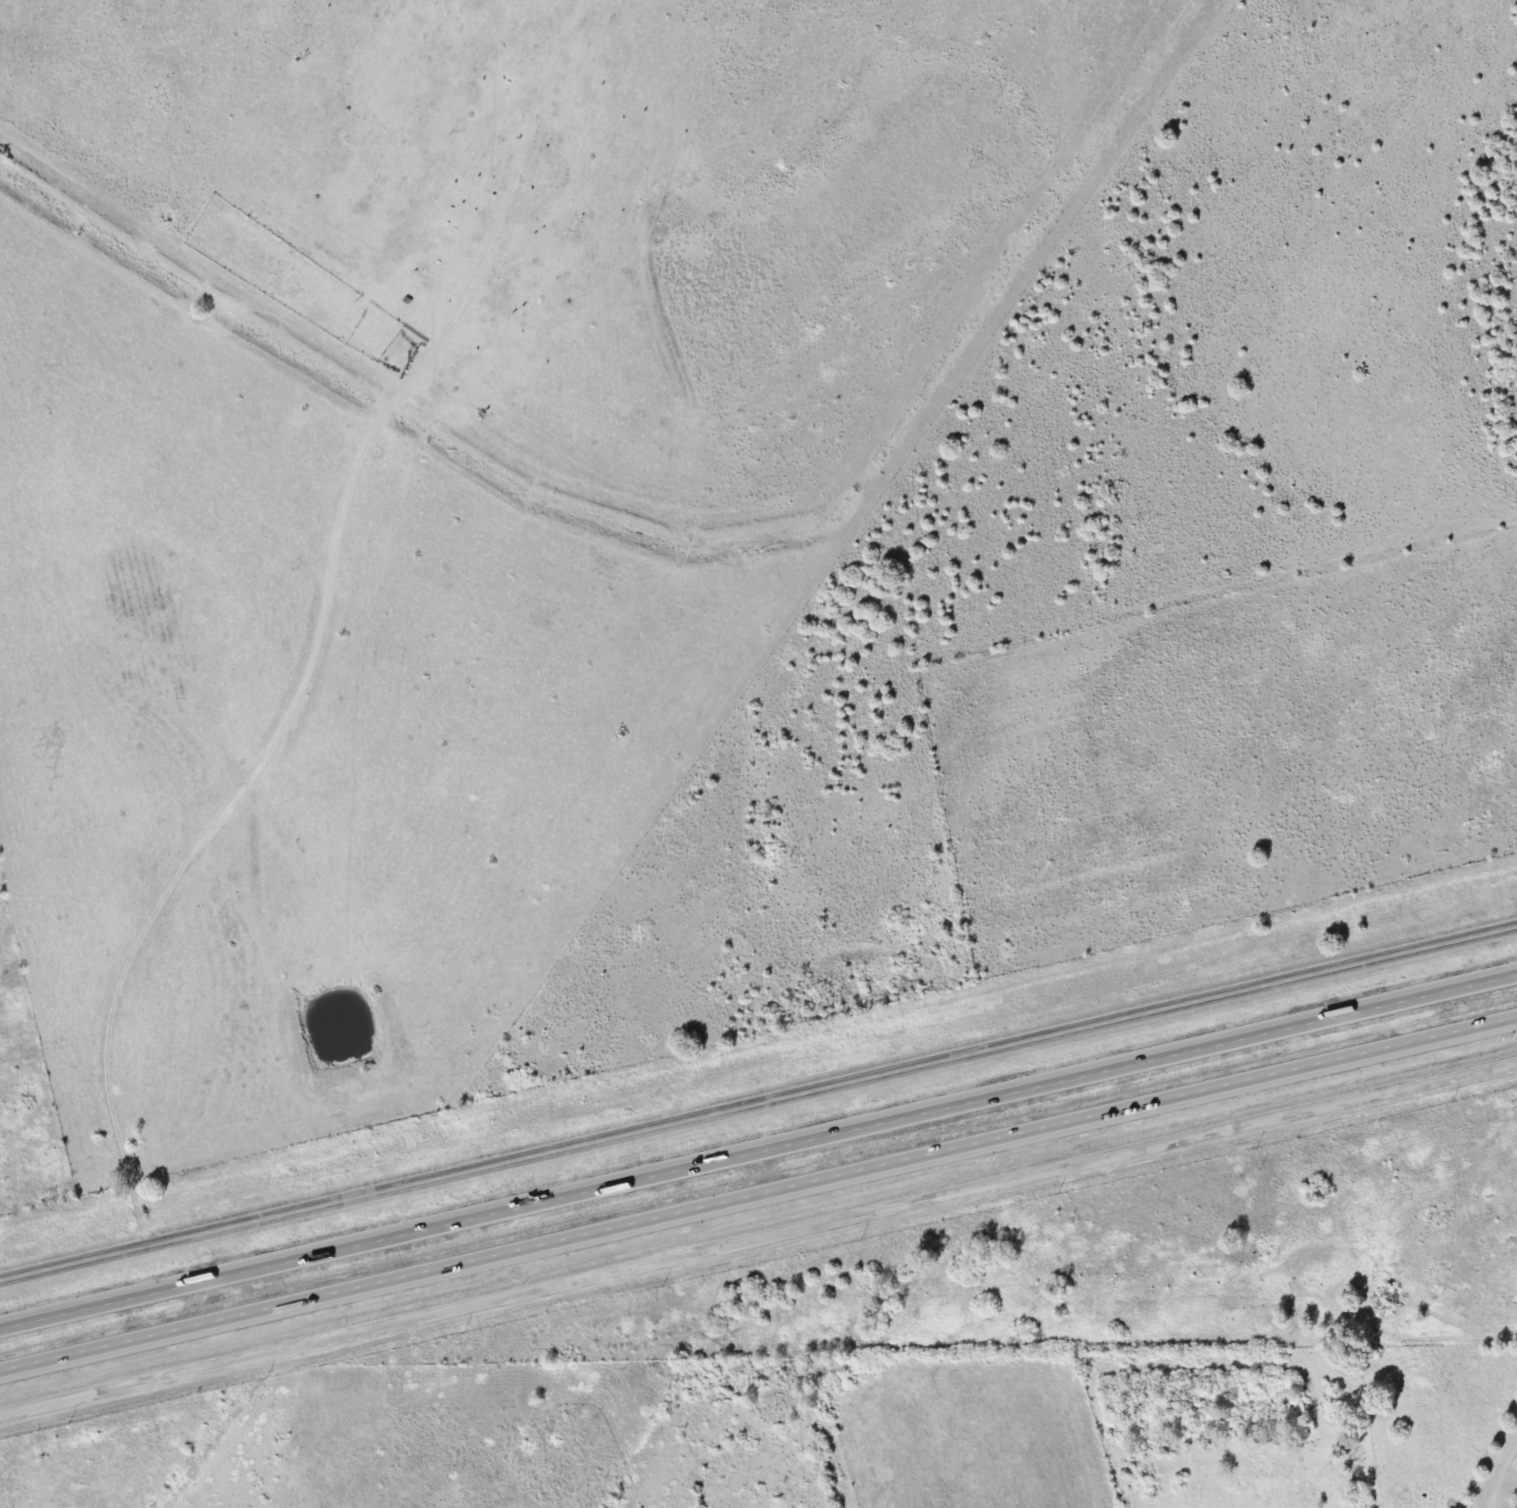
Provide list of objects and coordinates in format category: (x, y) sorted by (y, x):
road: (758, 1103)
road: (758, 1151)
road: (758, 1194)
road: (758, 1239)
road: (1496, 1464)

